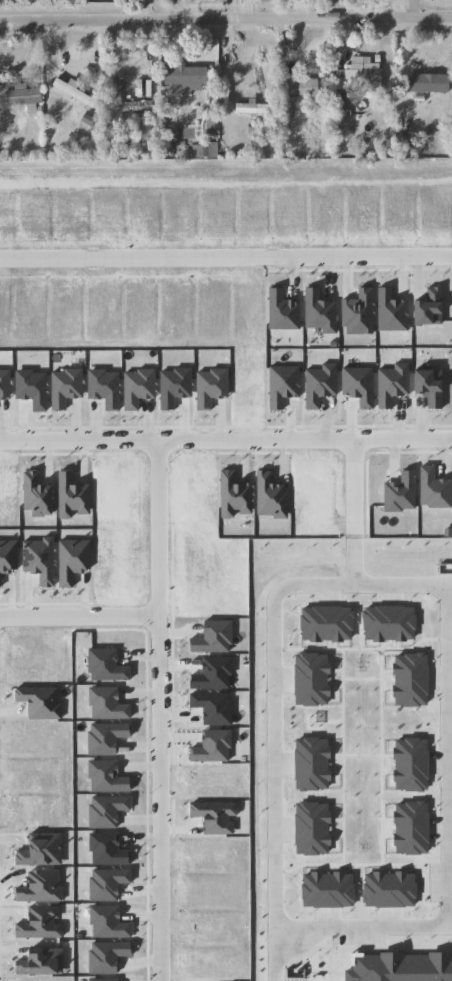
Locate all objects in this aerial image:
road: (229, 8)
road: (339, 8)
road: (411, 8)
road: (179, 9)
road: (225, 17)
road: (61, 44)
road: (114, 46)
road: (282, 64)
road: (401, 73)
building: (189, 78)
building: (361, 78)
building: (429, 83)
building: (305, 88)
building: (76, 93)
building: (26, 98)
building: (254, 108)
road: (226, 257)
road: (226, 438)
road: (352, 502)
road: (77, 618)
road: (275, 694)
road: (154, 710)
road: (446, 757)
road: (364, 929)

